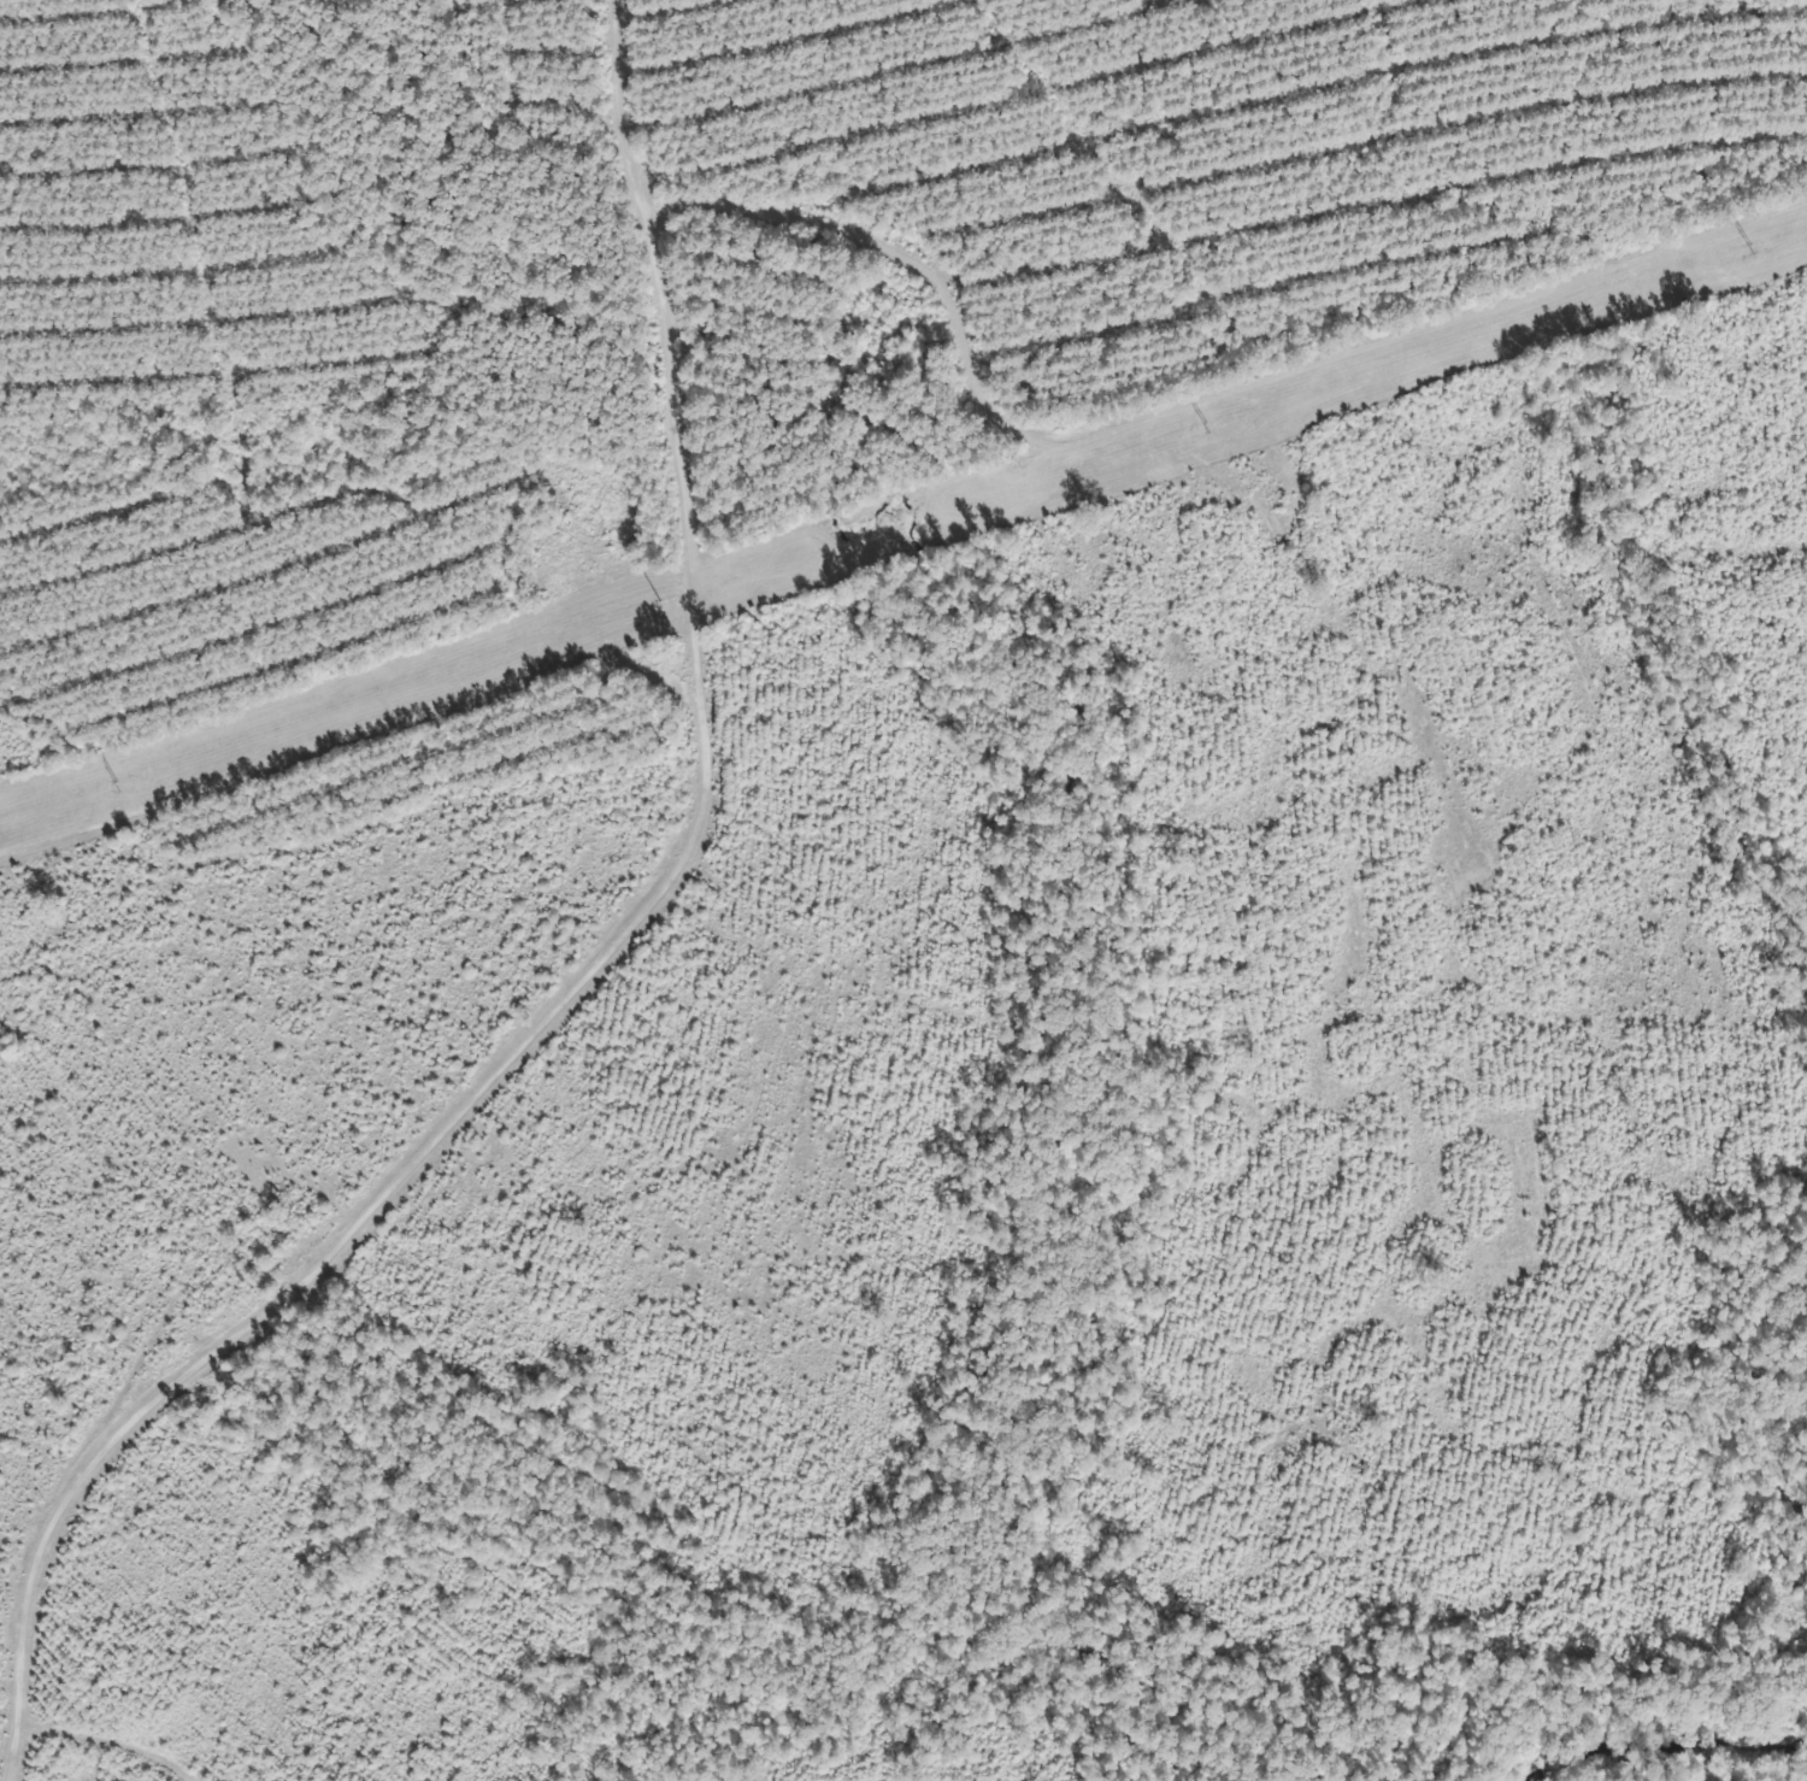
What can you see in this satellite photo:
power tower: (1744, 248)
power tower: (1200, 423)
power tower: (655, 606)
power tower: (110, 784)
road: (589, 957)
road: (66, 1732)

